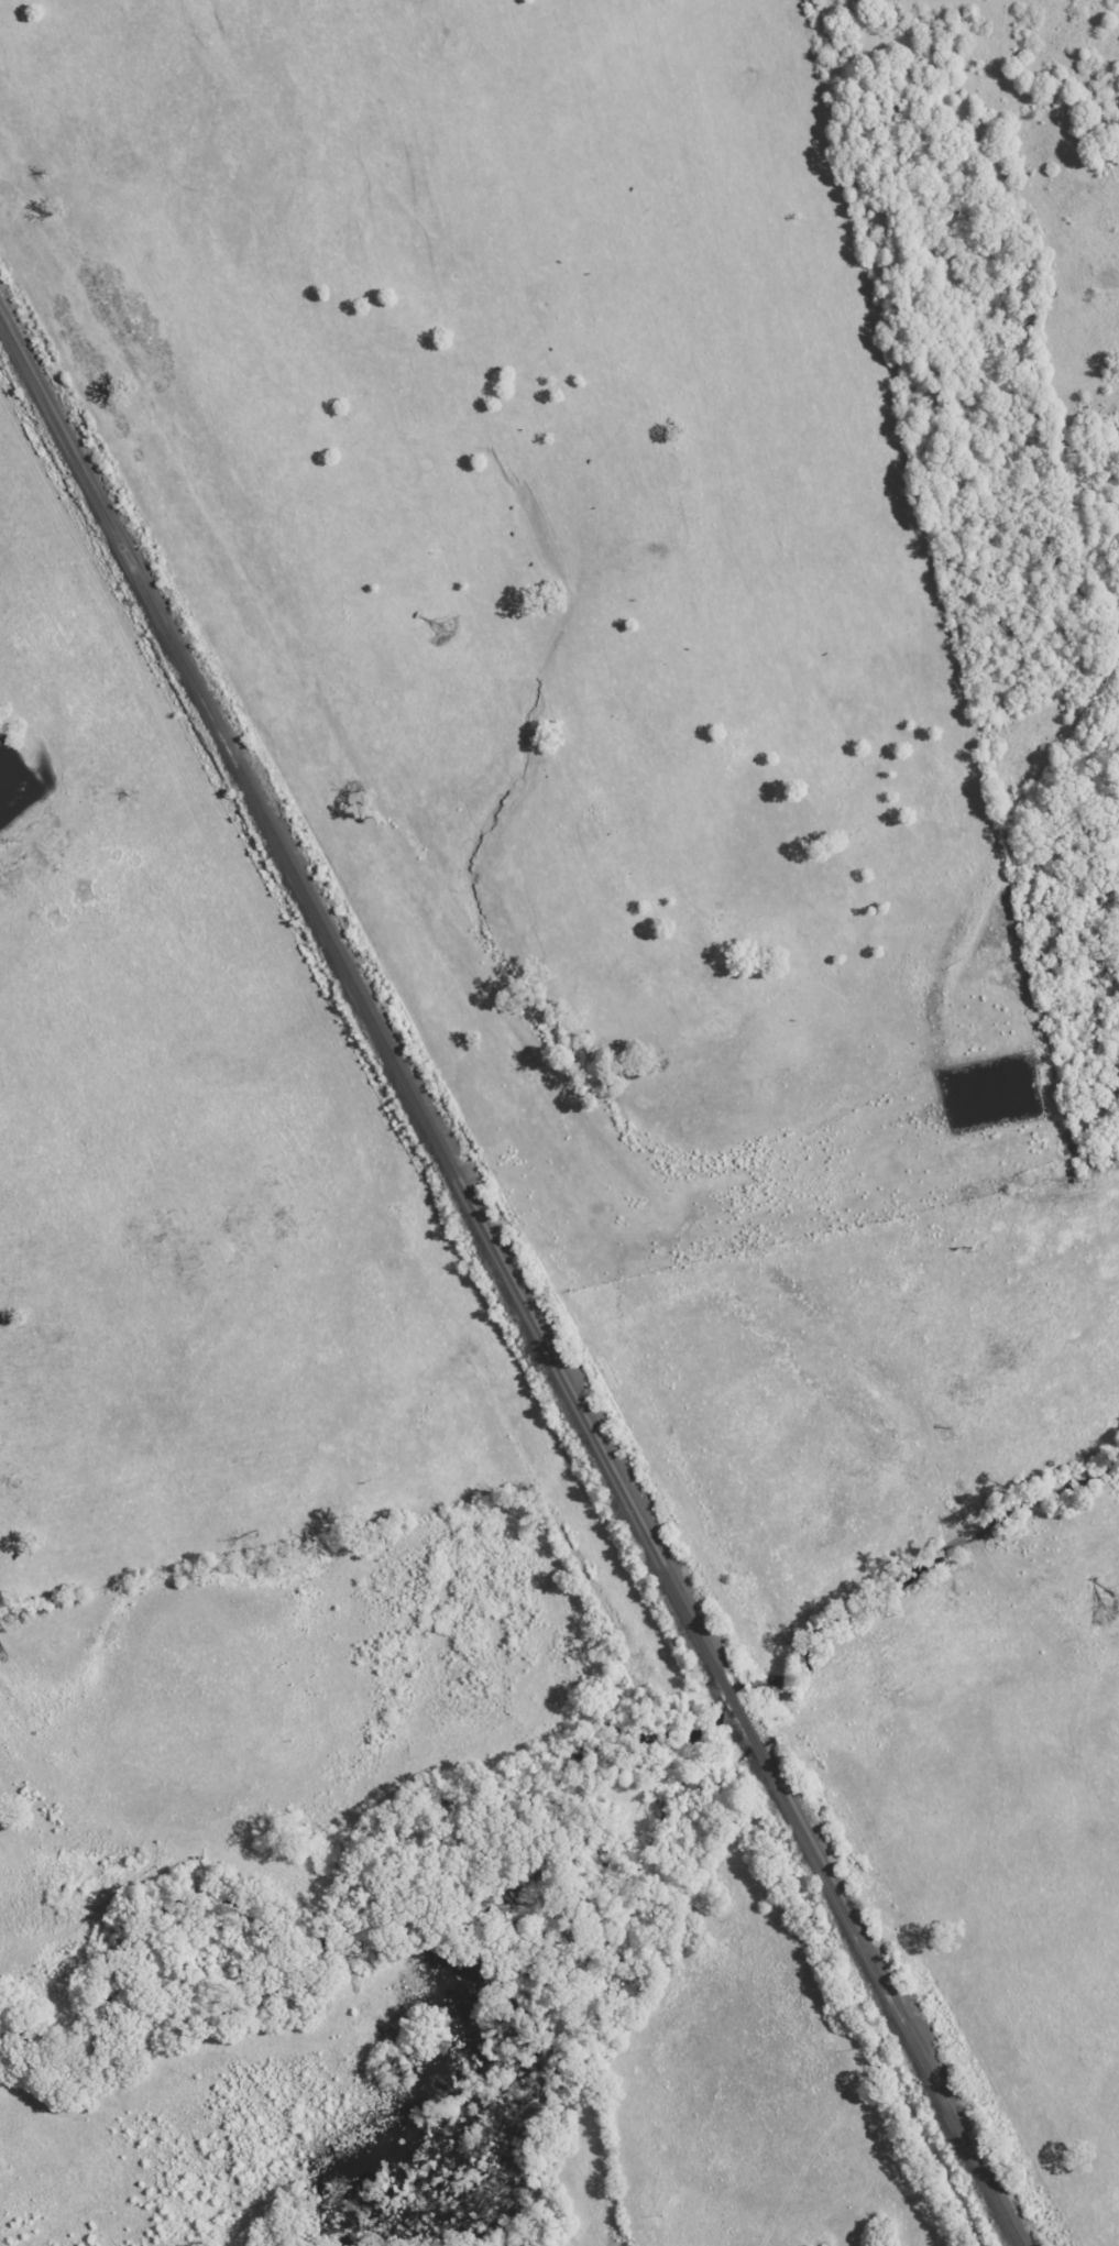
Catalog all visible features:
railway: (354, 999)
railway: (732, 1714)
railway: (886, 2000)

